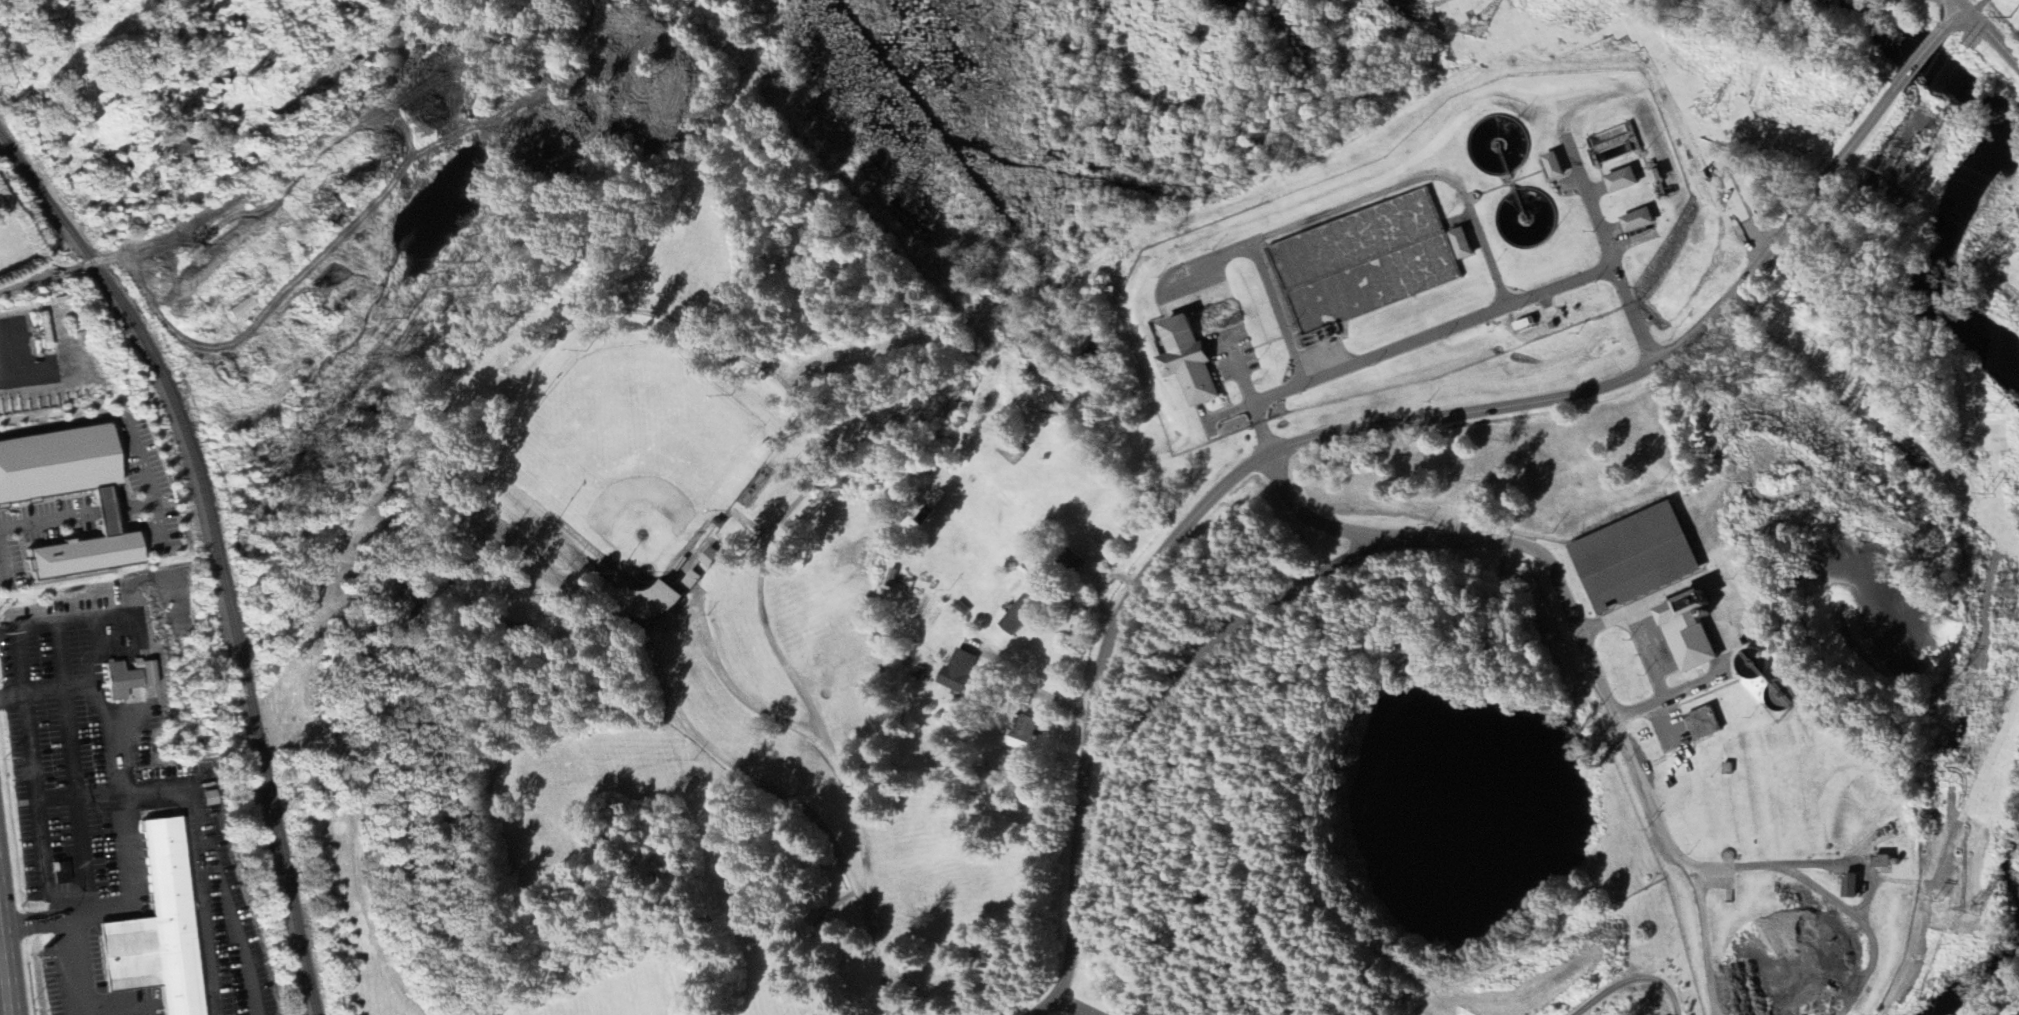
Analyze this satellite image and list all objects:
road: (1958, 6)
road: (1952, 20)
road: (1991, 42)
road: (1917, 59)
power tower: (1836, 109)
wastewater plant: (1500, 145)
power tower: (1910, 146)
building: (1556, 167)
building: (1659, 177)
building: (1625, 182)
wastewater plant: (1528, 218)
building: (1640, 222)
building: (1463, 245)
wastewater plant: (1367, 260)
wastewater plant: (1413, 261)
road: (636, 307)
road: (1456, 326)
wastewater plant: (1193, 358)
building: (1191, 362)
road: (34, 378)
road: (62, 421)
road: (1327, 435)
building: (1011, 452)
park: (631, 460)
road: (145, 479)
building: (23, 497)
road: (99, 508)
road: (1305, 510)
road: (46, 517)
railway: (214, 549)
building: (1637, 556)
building: (460, 579)
power tower: (2011, 594)
building: (655, 601)
park: (632, 612)
building: (1021, 617)
road: (1578, 630)
building: (1693, 633)
road: (1198, 664)
building: (960, 671)
building: (147, 674)
building: (120, 681)
road: (740, 687)
road: (1038, 690)
building: (1705, 725)
building: (1026, 734)
road: (120, 817)
building: (1886, 862)
building: (1852, 886)
road: (1823, 896)
power tower: (1969, 910)
building: (158, 930)
road: (1702, 940)
road: (812, 944)
road: (890, 960)
road: (5, 976)
road: (1635, 979)
park: (1633, 990)
road: (1088, 1002)
park: (1091, 1003)

